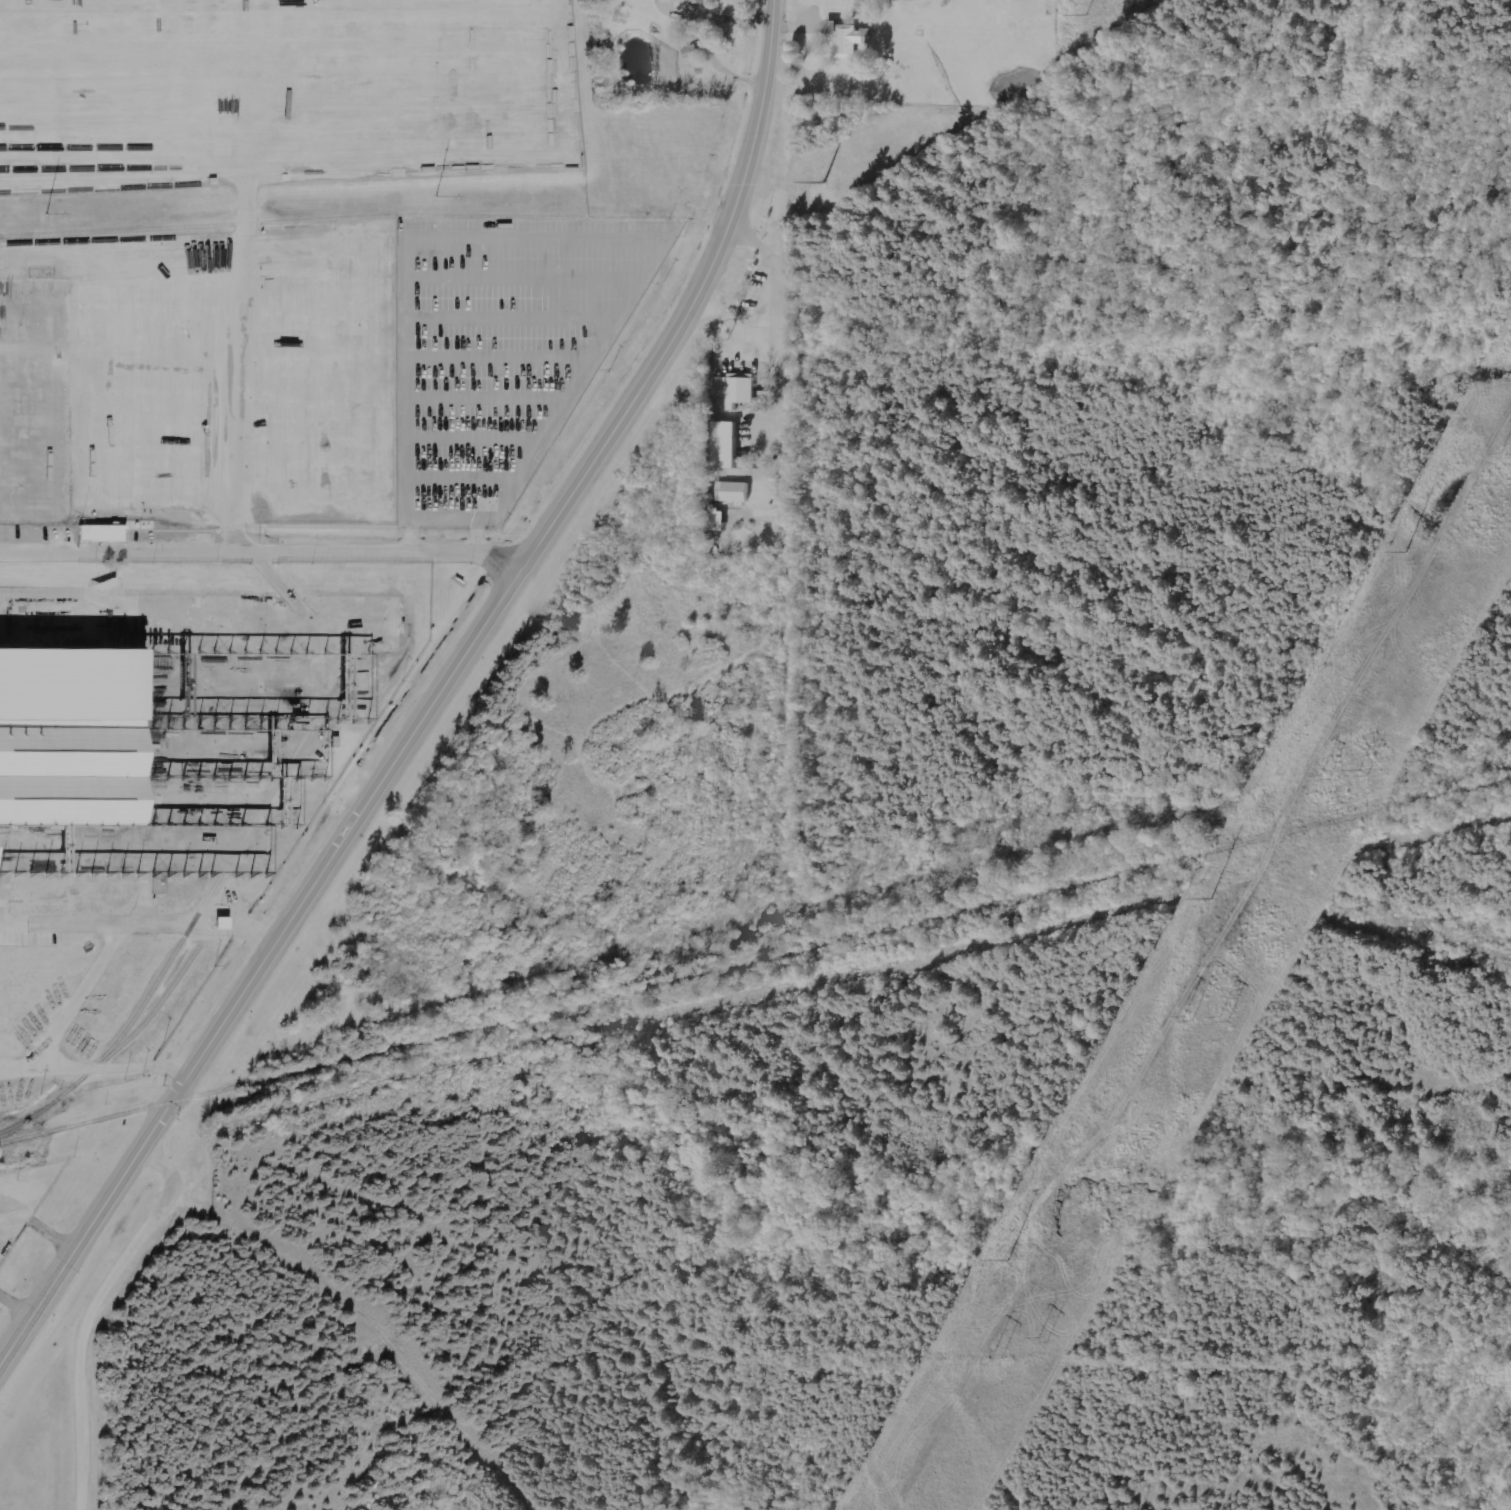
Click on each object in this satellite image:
building: (907, 0)
building: (669, 1)
building: (702, 1)
building: (850, 38)
building: (737, 390)
building: (728, 444)
building: (735, 491)
building: (719, 520)
building: (105, 533)
road: (437, 701)
building: (66, 738)
railway: (244, 837)
building: (226, 924)
railway: (756, 964)
railway: (156, 1008)
railway: (43, 1108)
road: (38, 1226)
road: (14, 1306)

